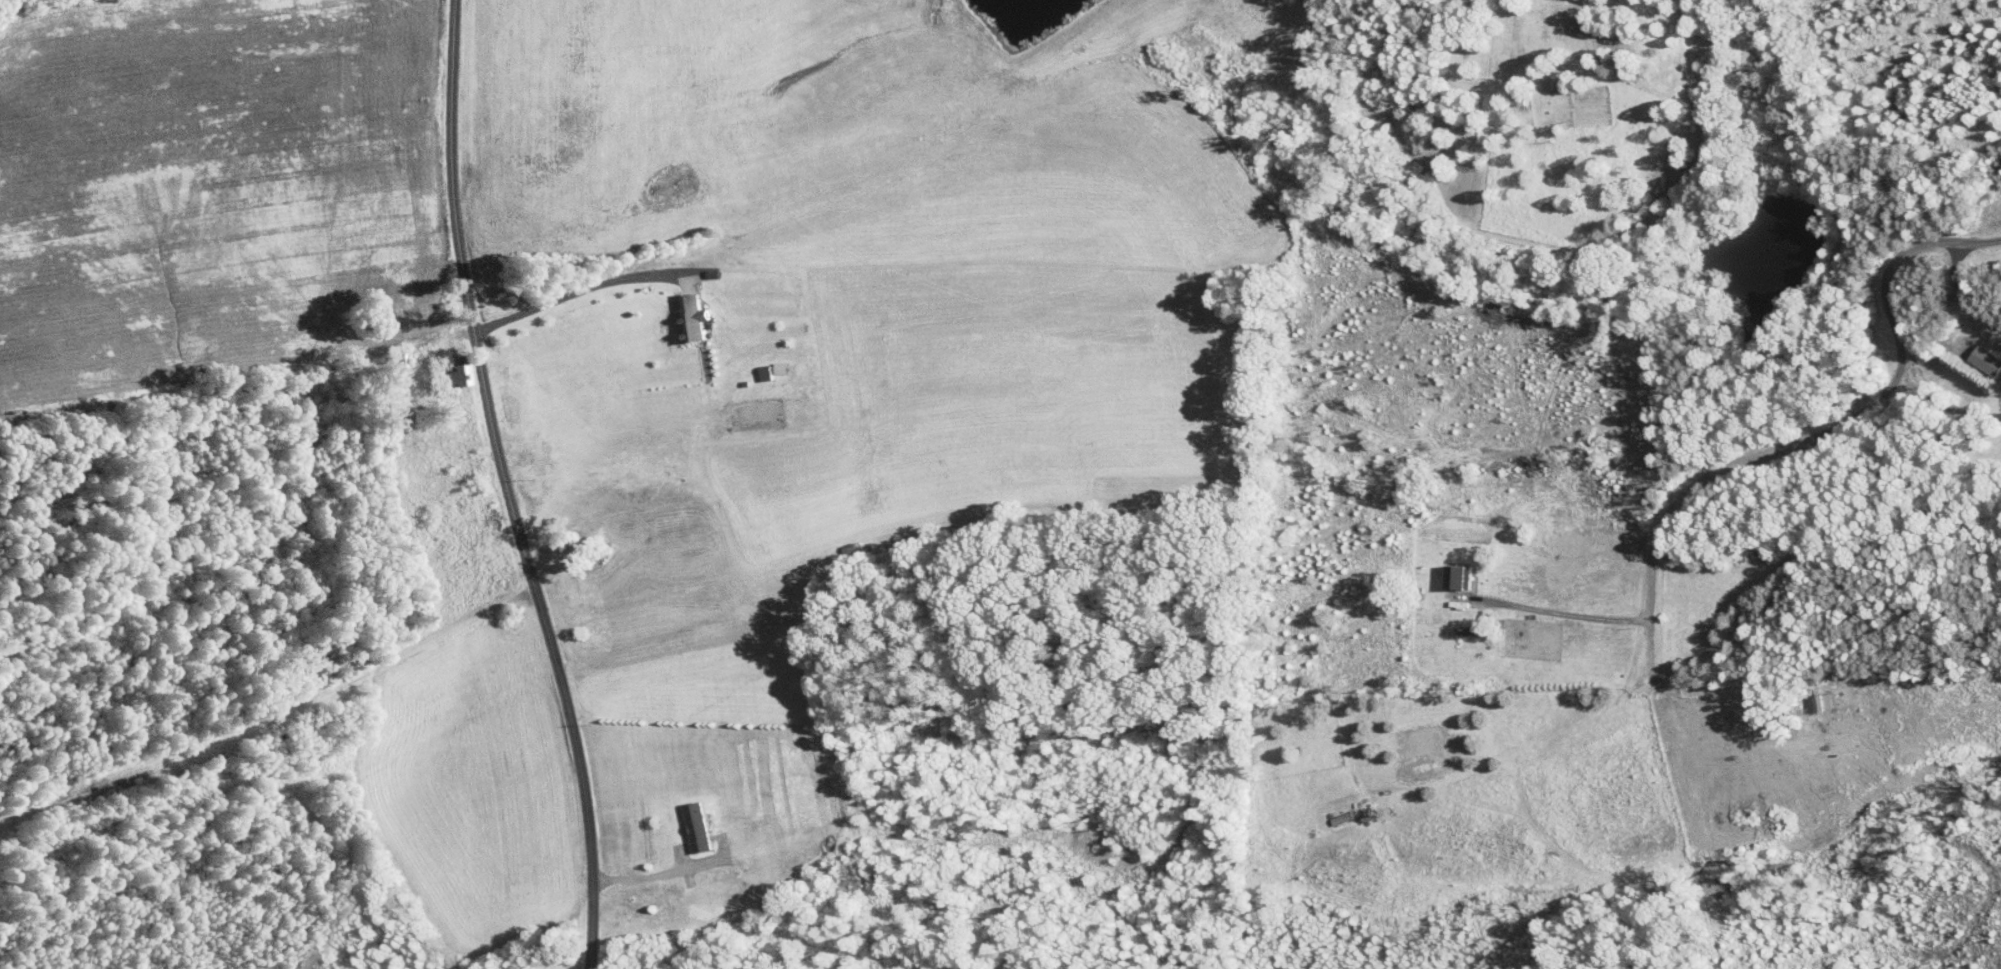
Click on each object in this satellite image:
road: (569, 284)
road: (1961, 294)
building: (685, 313)
building: (1970, 354)
building: (449, 369)
road: (1945, 403)
road: (1814, 437)
road: (506, 487)
building: (1451, 569)
road: (1556, 607)
building: (689, 820)
road: (645, 876)

